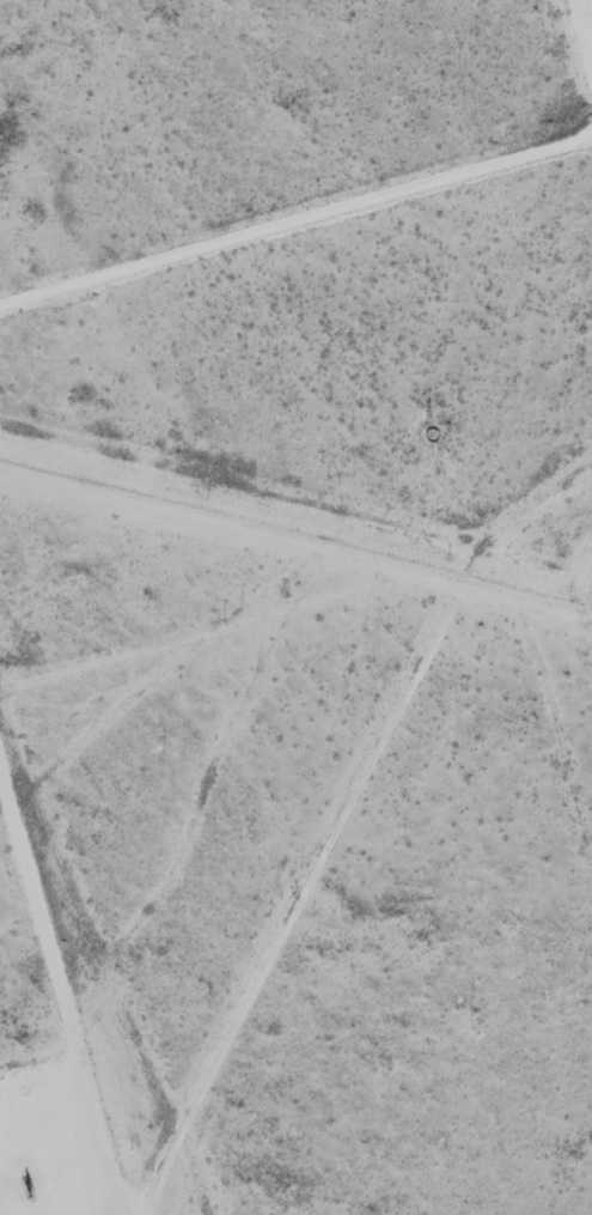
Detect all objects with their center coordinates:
road: (56, 1004)

